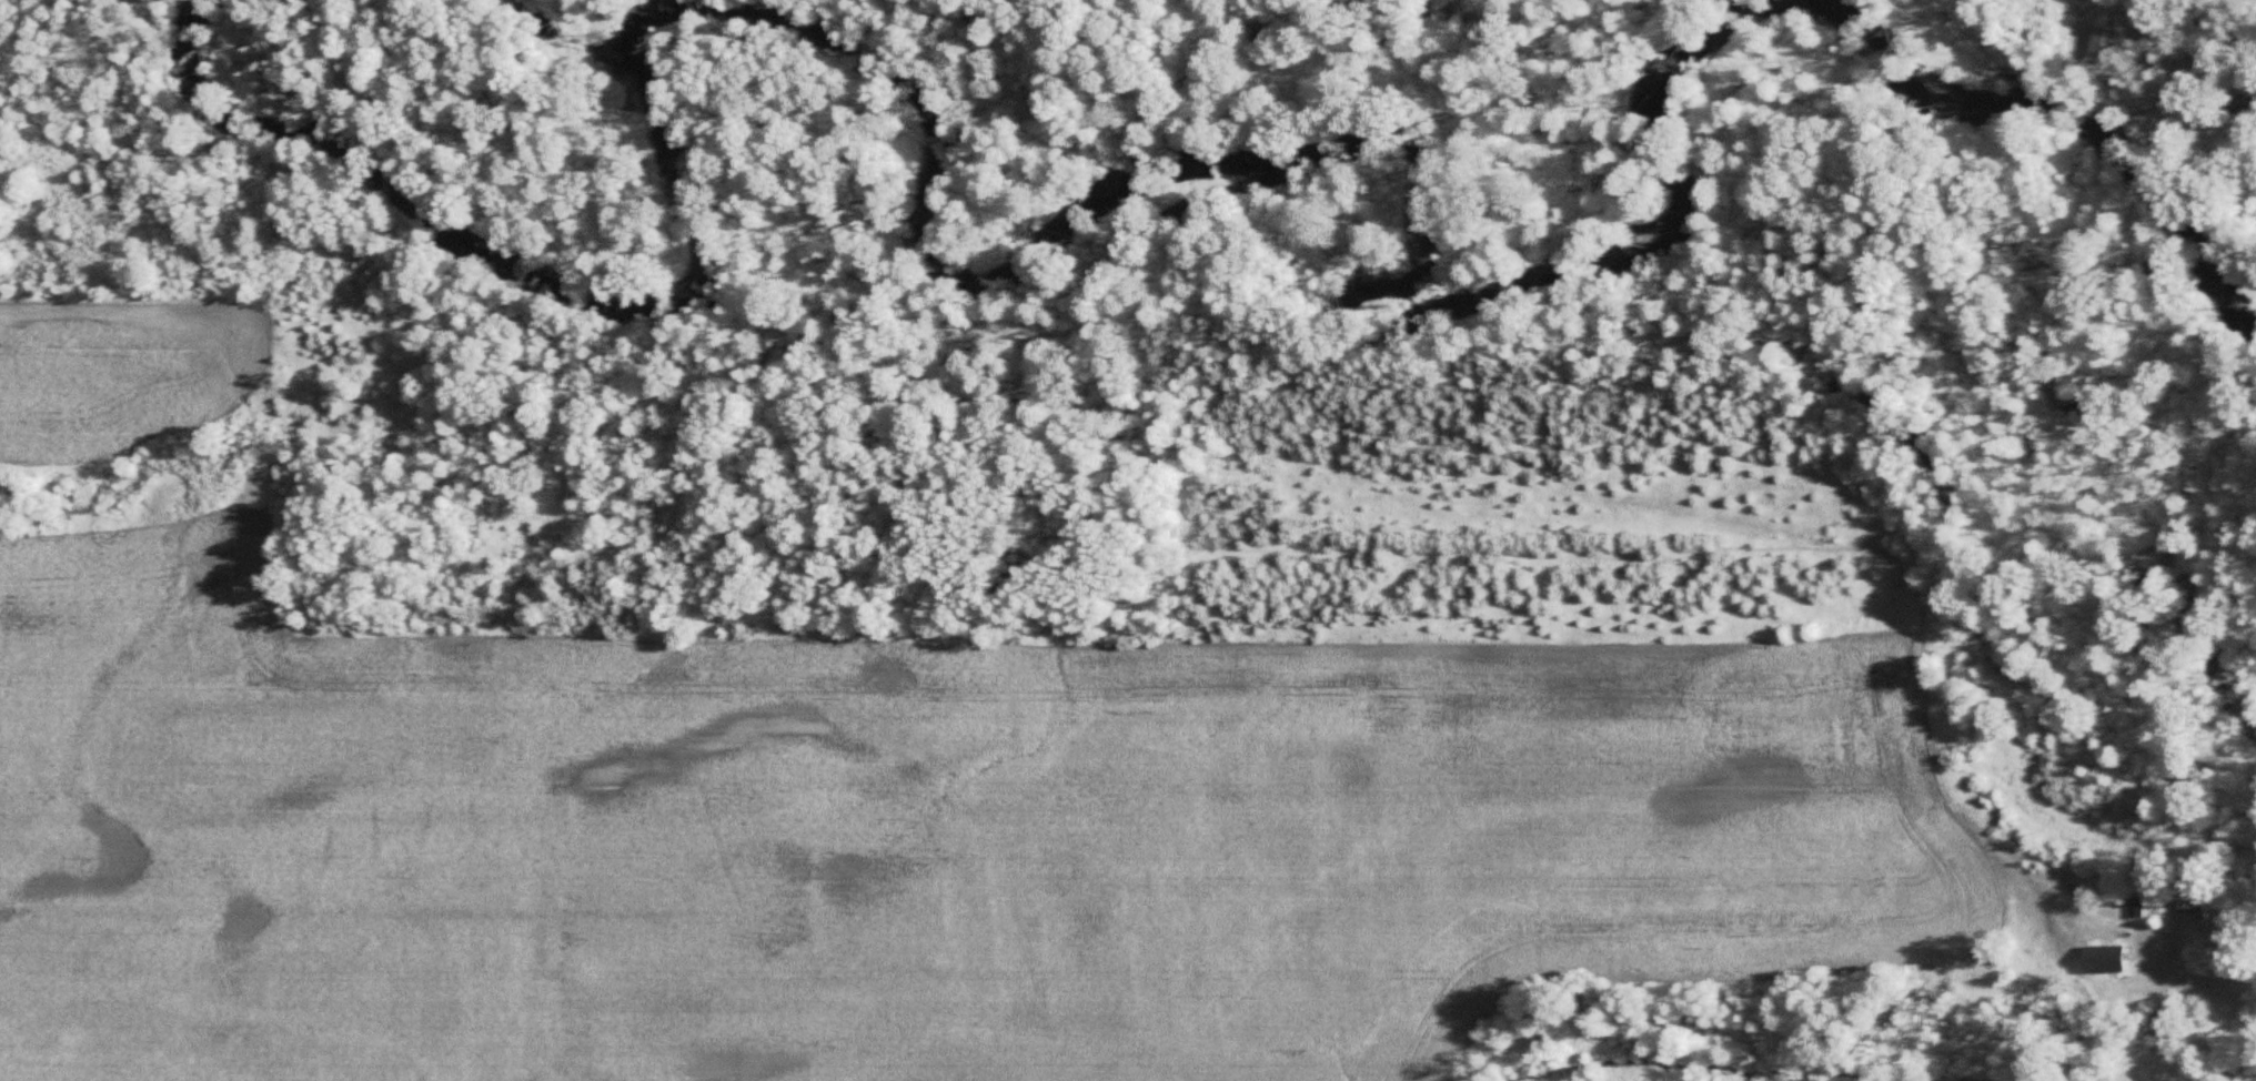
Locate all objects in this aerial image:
building: (2102, 46)
river: (1219, 169)
building: (2187, 905)
building: (2132, 909)
building: (2103, 960)
building: (2151, 1030)

